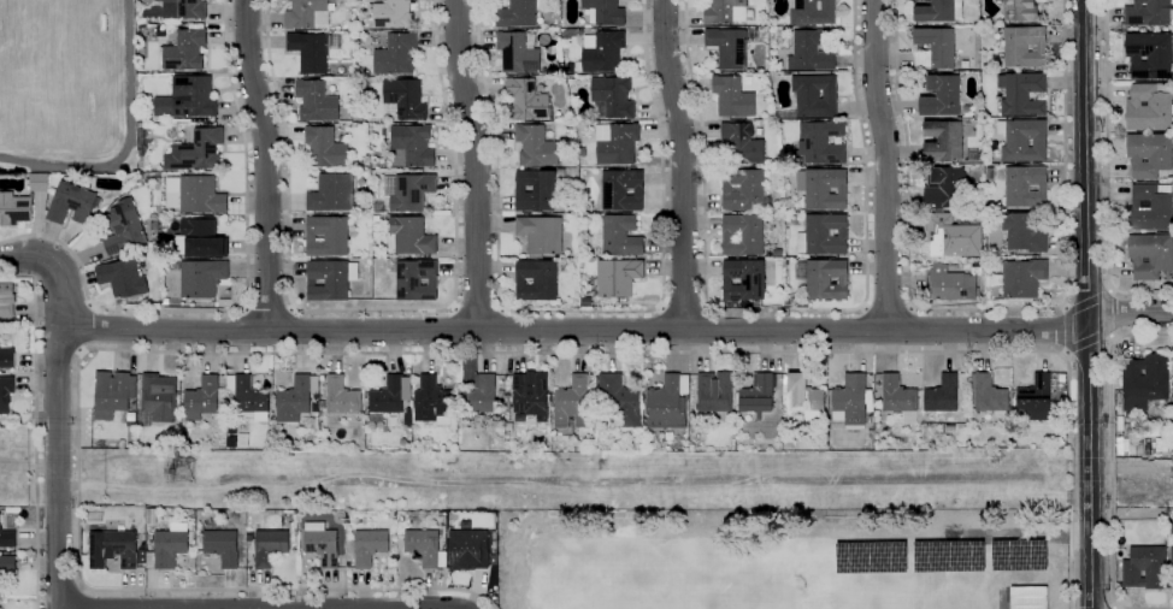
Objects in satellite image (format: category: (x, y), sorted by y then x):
building: (184, 8)
building: (1021, 10)
building: (606, 11)
building: (725, 11)
building: (939, 11)
building: (813, 12)
building: (1150, 12)
building: (308, 13)
building: (393, 13)
building: (517, 13)
building: (530, 39)
building: (730, 46)
building: (938, 46)
building: (1025, 46)
building: (185, 51)
building: (312, 51)
building: (602, 51)
building: (811, 52)
building: (517, 53)
building: (396, 54)
building: (1150, 55)
building: (749, 70)
building: (546, 71)
building: (1021, 94)
building: (815, 95)
building: (193, 96)
building: (732, 96)
building: (942, 96)
building: (613, 97)
building: (405, 99)
building: (317, 100)
building: (527, 100)
building: (1151, 107)
building: (788, 114)
building: (219, 124)
building: (1025, 140)
building: (944, 141)
road: (129, 142)
building: (617, 143)
building: (743, 143)
building: (820, 143)
building: (413, 144)
building: (537, 144)
building: (325, 147)
building: (196, 150)
building: (1151, 155)
road: (267, 164)
road: (476, 164)
road: (683, 164)
road: (886, 164)
building: (560, 171)
building: (991, 173)
road: (1108, 175)
building: (39, 182)
building: (1027, 187)
building: (824, 188)
building: (948, 189)
building: (536, 190)
building: (623, 190)
building: (744, 190)
building: (408, 191)
building: (332, 193)
building: (201, 195)
building: (790, 202)
building: (71, 203)
building: (1151, 207)
building: (14, 208)
building: (384, 215)
building: (376, 219)
building: (123, 227)
building: (1027, 231)
building: (541, 233)
building: (743, 235)
building: (824, 235)
building: (326, 236)
building: (409, 236)
building: (620, 236)
building: (951, 236)
building: (202, 237)
building: (777, 253)
building: (1013, 254)
building: (1151, 255)
building: (618, 277)
building: (122, 278)
building: (201, 278)
building: (824, 278)
building: (1025, 278)
building: (330, 279)
building: (537, 279)
building: (743, 279)
building: (417, 280)
building: (953, 284)
road: (1110, 290)
road: (243, 295)
building: (6, 300)
building: (166, 301)
building: (585, 301)
road: (1087, 302)
road: (1089, 304)
road: (707, 306)
road: (888, 306)
road: (661, 307)
road: (1066, 307)
road: (454, 308)
road: (684, 308)
road: (244, 309)
road: (291, 309)
road: (502, 309)
road: (580, 309)
road: (988, 309)
road: (372, 311)
road: (477, 311)
road: (785, 311)
road: (267, 312)
road: (1069, 312)
road: (1108, 313)
road: (1130, 313)
road: (93, 327)
road: (867, 327)
road: (910, 329)
road: (515, 330)
road: (1068, 330)
road: (1107, 331)
road: (1112, 337)
road: (1089, 341)
road: (57, 349)
road: (428, 351)
road: (706, 351)
road: (242, 353)
road: (302, 353)
road: (373, 353)
road: (488, 353)
road: (1067, 353)
building: (7, 357)
road: (652, 359)
building: (1061, 378)
building: (1172, 380)
building: (1144, 382)
building: (714, 391)
building: (6, 392)
building: (530, 392)
building: (112, 394)
building: (758, 394)
building: (316, 395)
building: (803, 395)
building: (897, 395)
building: (942, 395)
building: (990, 395)
building: (159, 396)
building: (342, 396)
building: (390, 396)
building: (500, 396)
building: (248, 397)
building: (201, 398)
building: (479, 398)
building: (506, 398)
building: (293, 400)
building: (432, 400)
building: (1035, 400)
building: (619, 401)
building: (850, 402)
building: (572, 403)
building: (322, 404)
building: (666, 404)
building: (316, 408)
building: (506, 408)
building: (500, 409)
building: (954, 415)
building: (130, 416)
building: (1126, 427)
building: (231, 428)
building: (950, 428)
building: (1132, 431)
road: (35, 432)
building: (871, 433)
building: (1155, 433)
building: (668, 436)
building: (231, 441)
building: (120, 444)
building: (1126, 444)
building: (220, 445)
building: (1132, 447)
building: (1139, 450)
road: (59, 467)
road: (1110, 469)
power tower: (188, 474)
building: (441, 514)
building: (151, 515)
building: (249, 536)
building: (7, 538)
building: (320, 543)
building: (167, 546)
building: (222, 546)
building: (269, 546)
building: (369, 546)
building: (423, 546)
building: (112, 549)
building: (468, 549)
building: (141, 556)
building: (493, 560)
building: (7, 564)
building: (1172, 567)
building: (1145, 568)
road: (59, 587)
road: (83, 597)
building: (1027, 597)
road: (1114, 607)
road: (257, 608)
road: (1097, 608)

